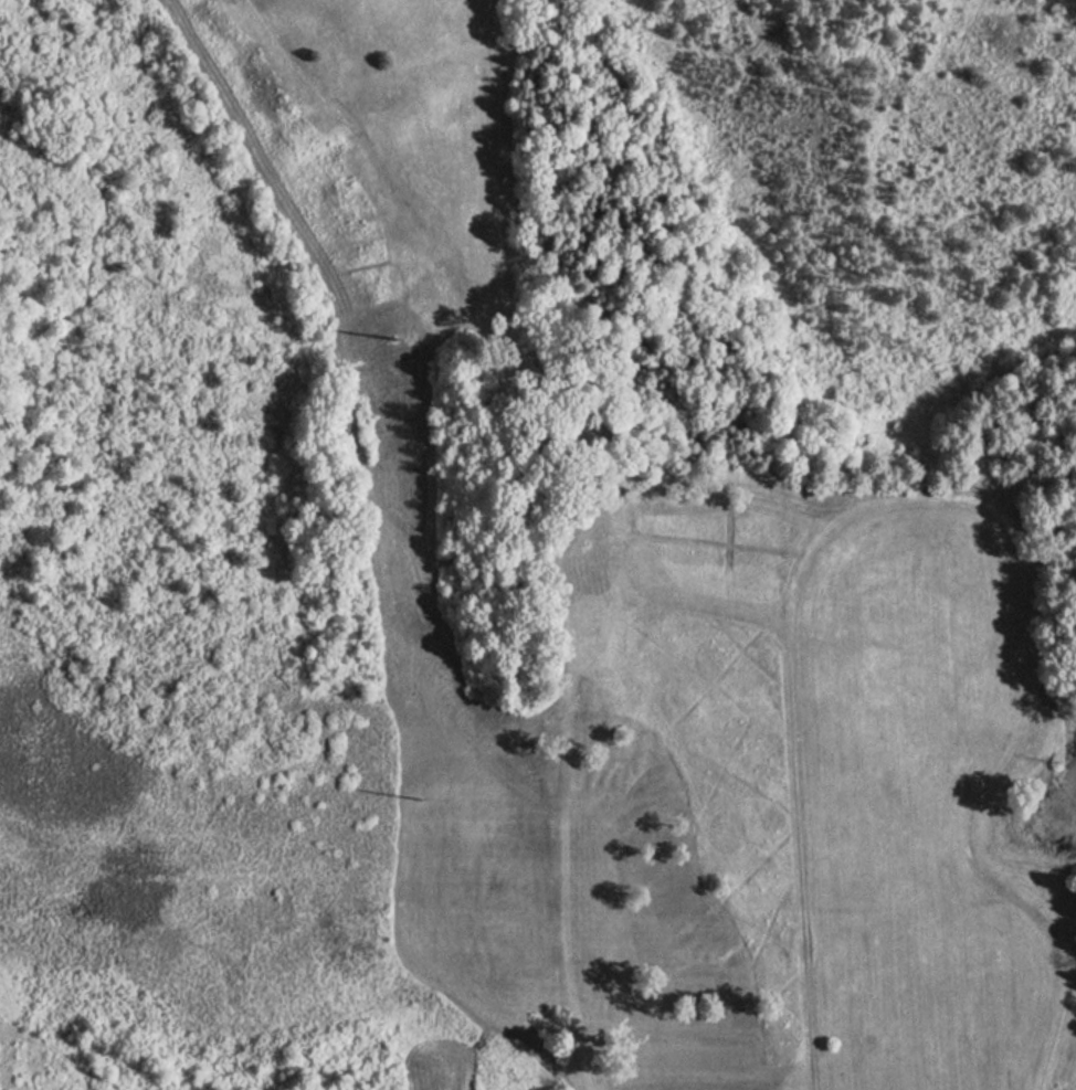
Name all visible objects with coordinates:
power tower: (392, 338)
power tower: (421, 795)

